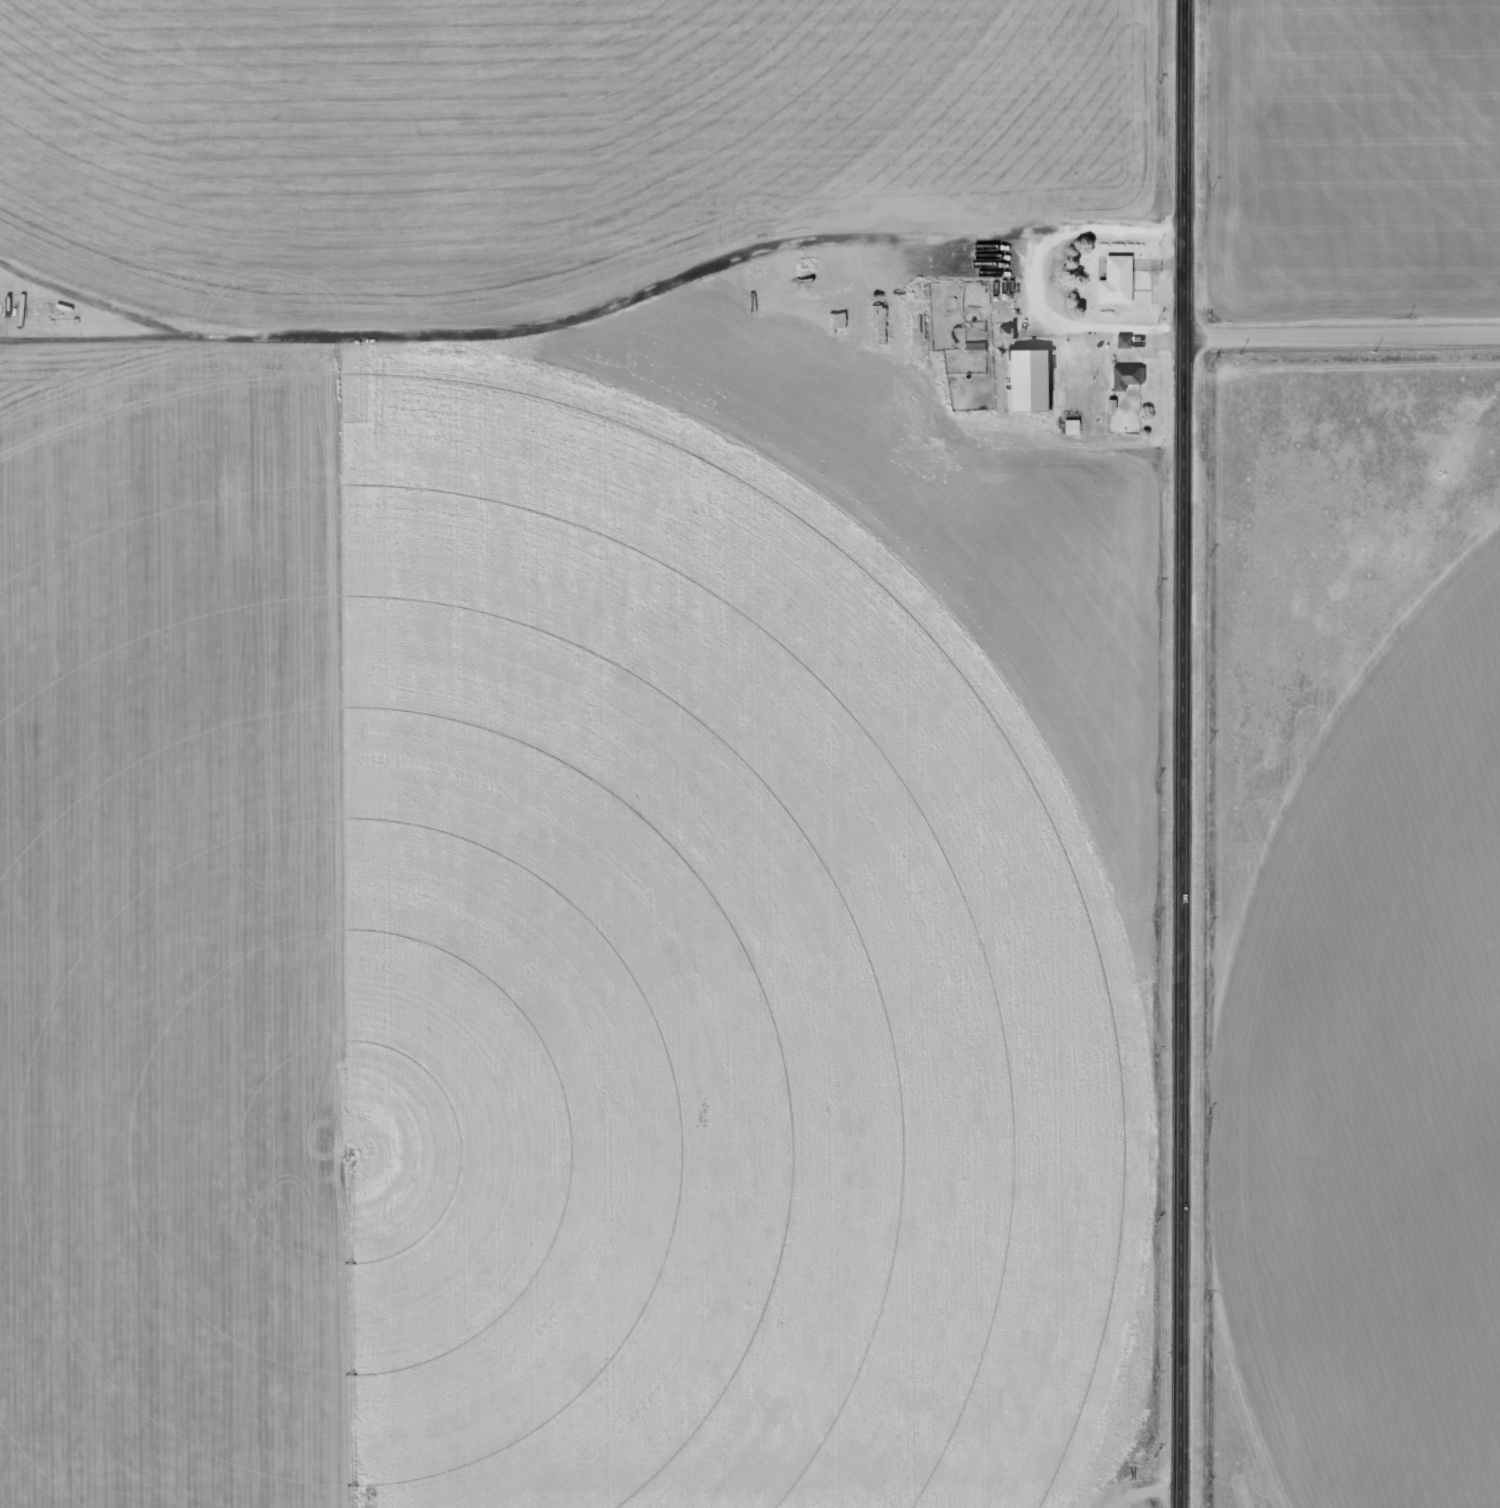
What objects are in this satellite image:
building: (1118, 281)
road: (1342, 330)
building: (1128, 378)
building: (1029, 381)
building: (1074, 428)
road: (1181, 753)

